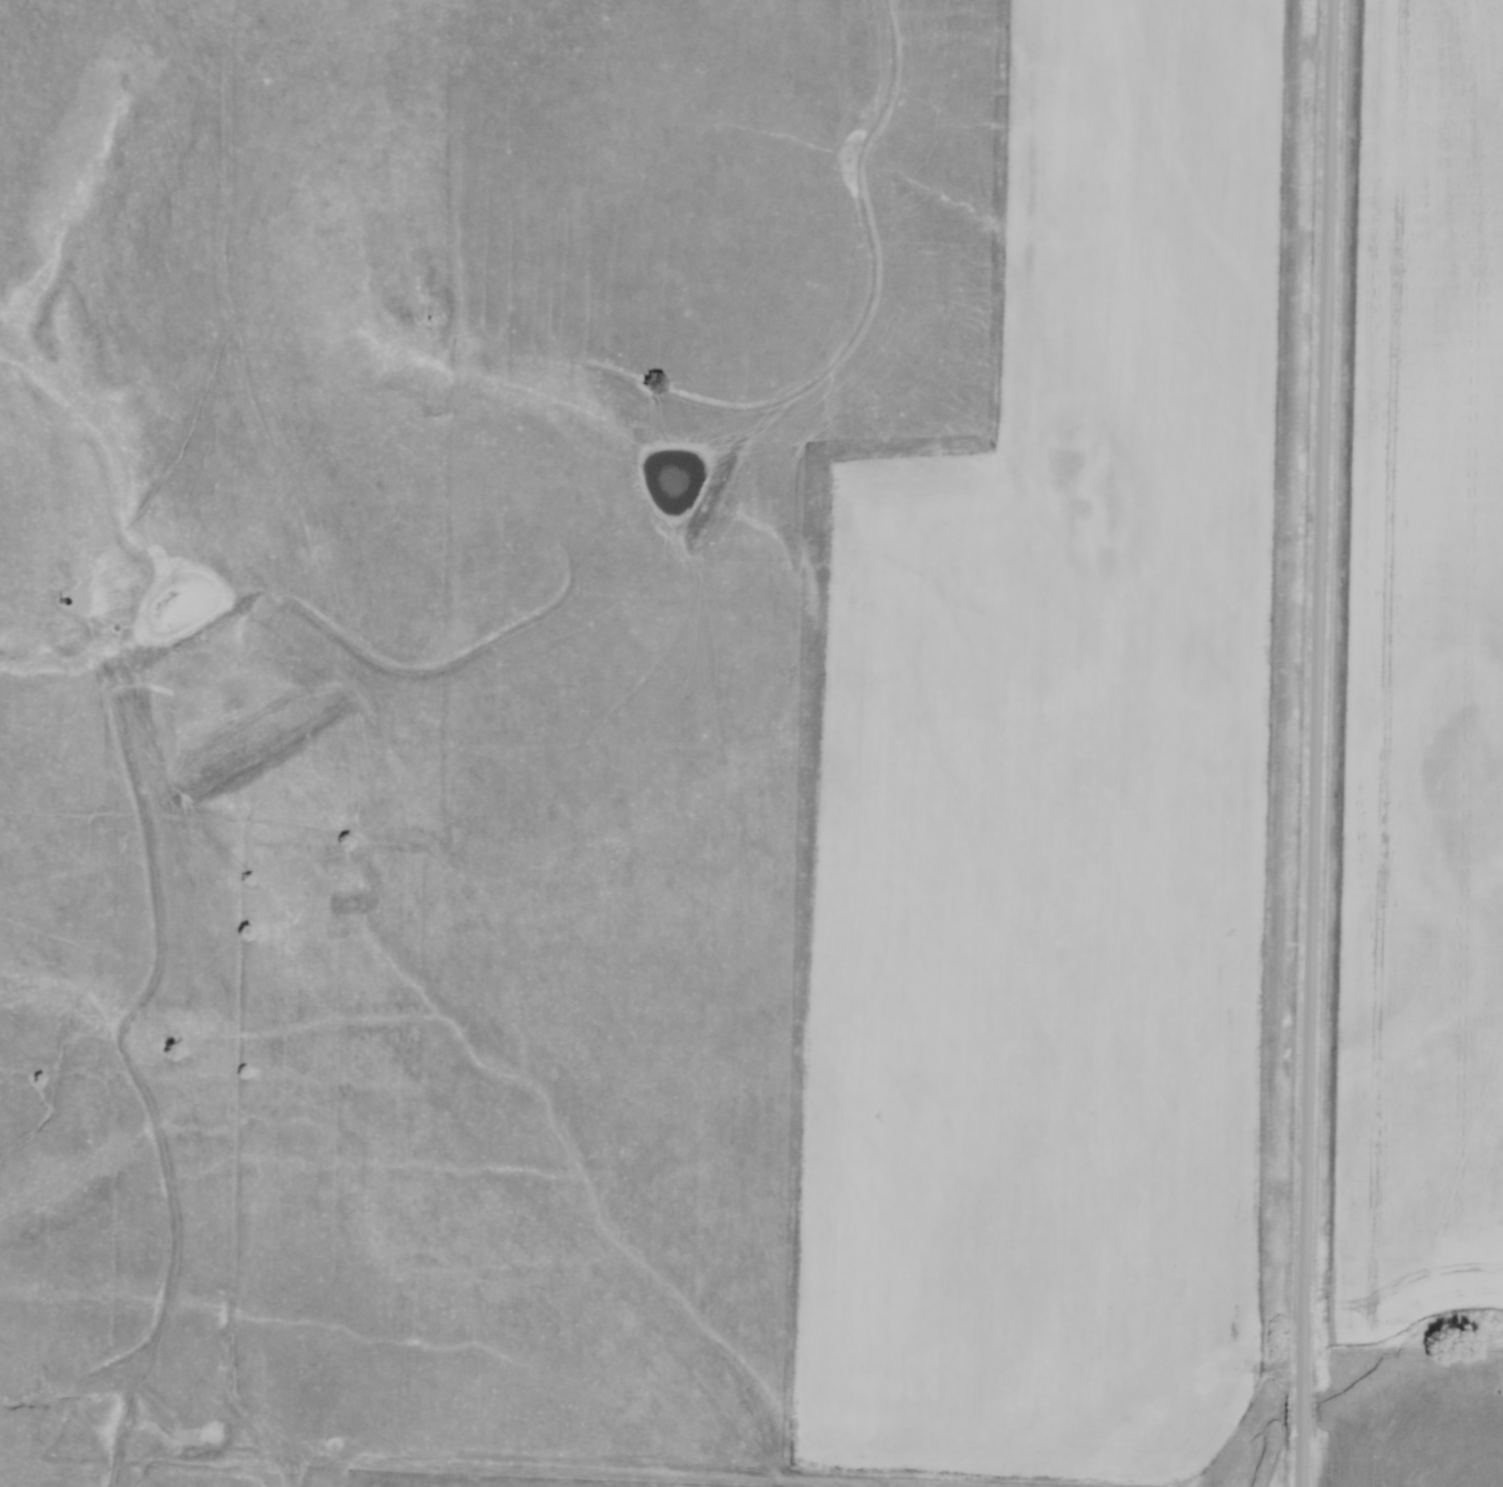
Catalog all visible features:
road: (1316, 743)

